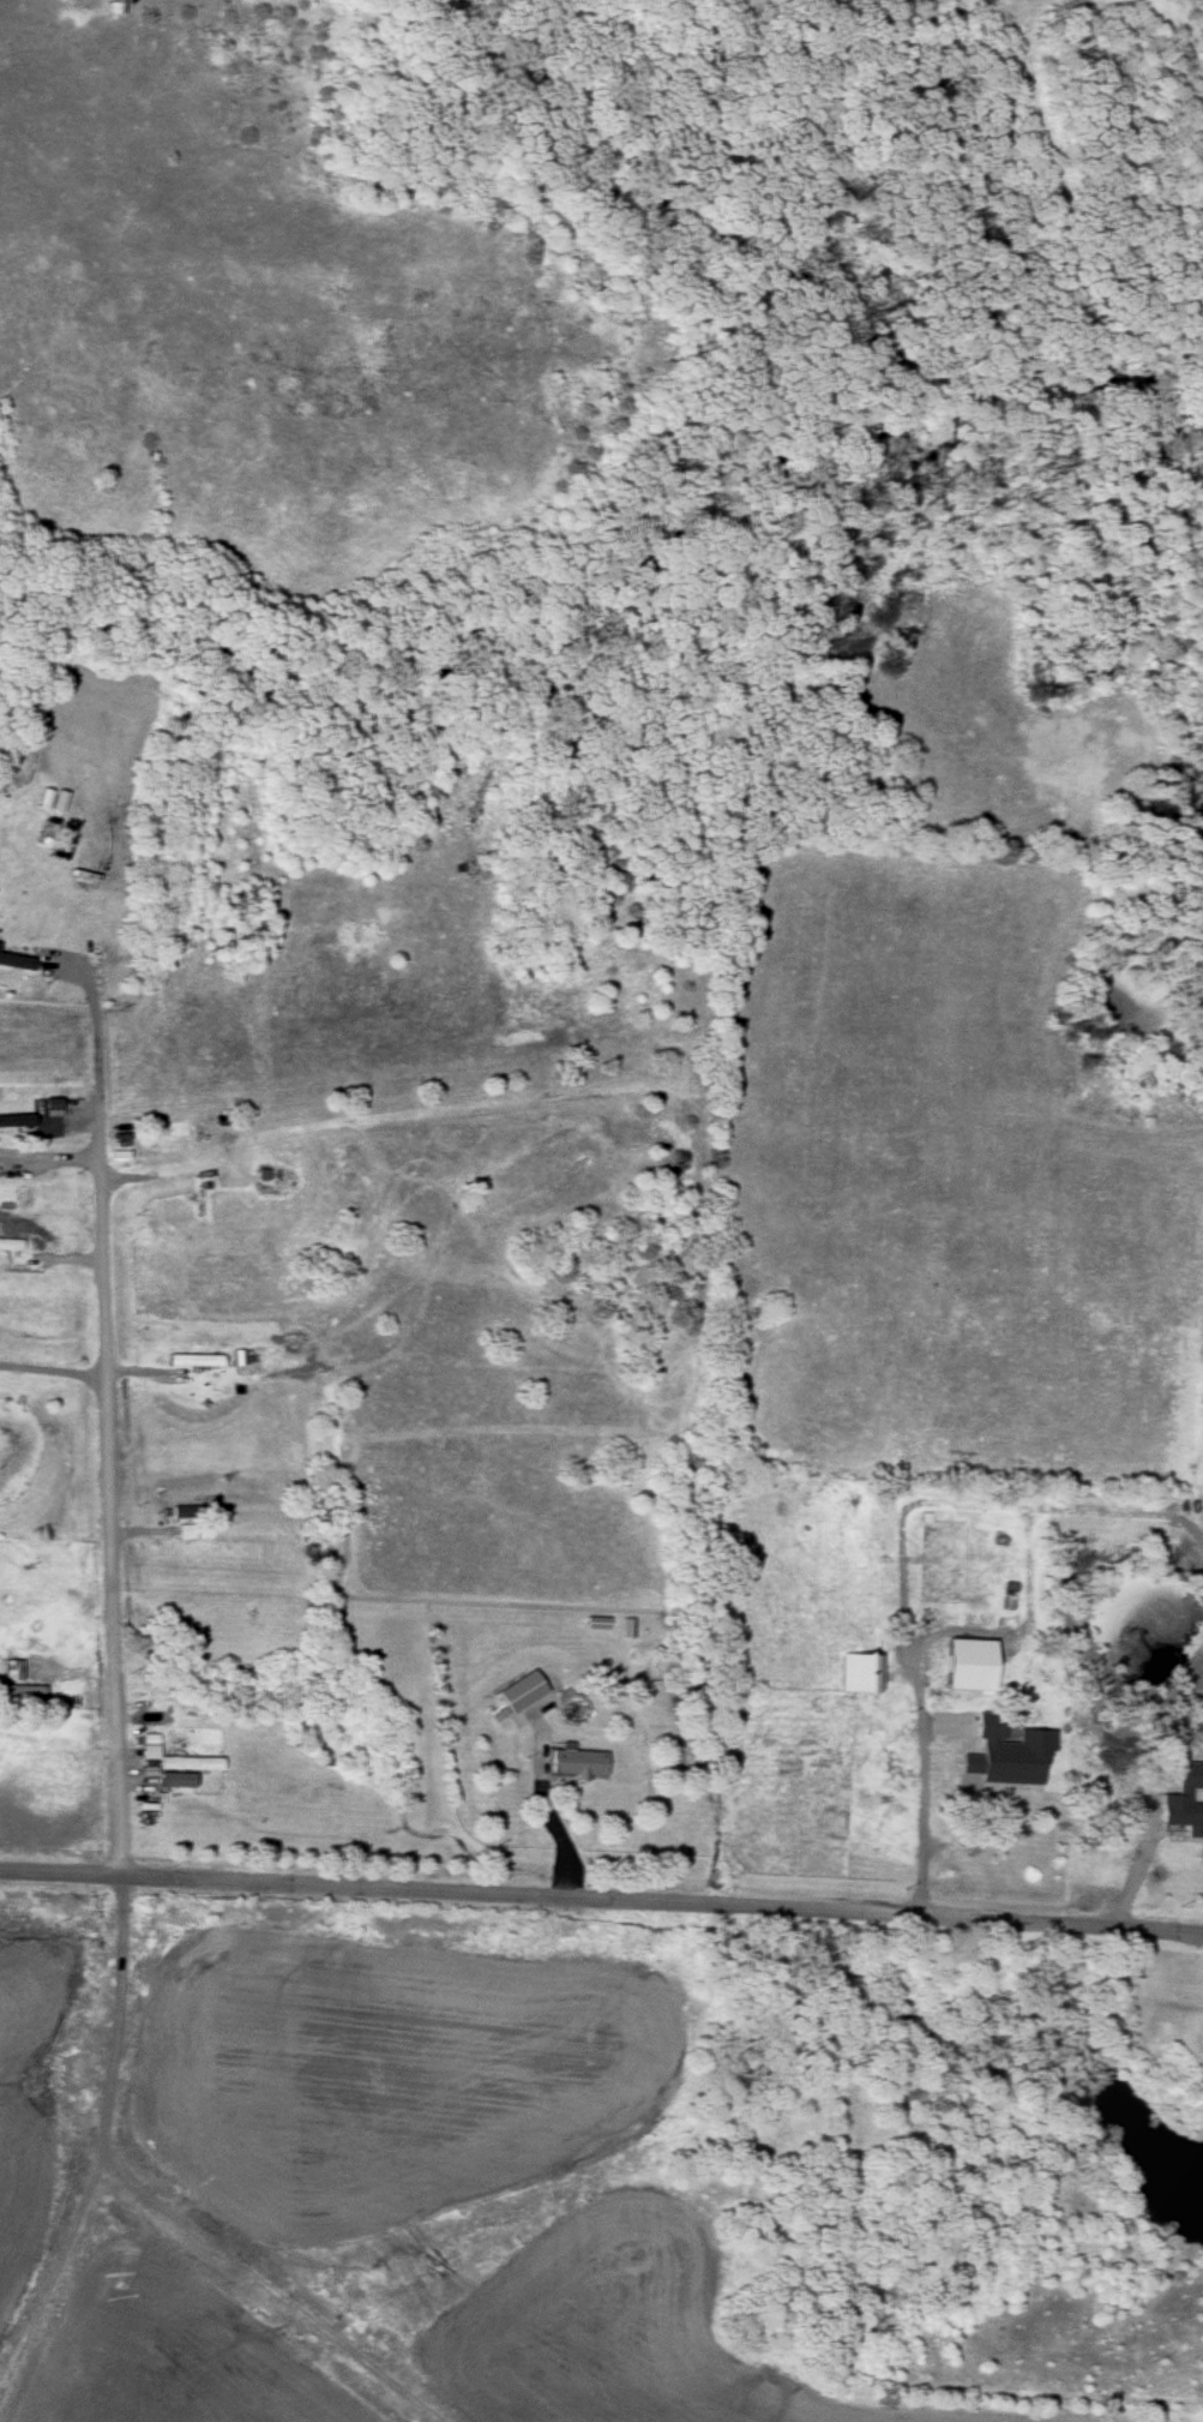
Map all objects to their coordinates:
building: (14, 960)
building: (18, 1120)
building: (203, 1204)
building: (10, 1245)
building: (197, 1361)
road: (52, 1365)
road: (104, 1392)
building: (187, 1519)
road: (982, 1631)
building: (10, 1667)
building: (859, 1674)
building: (957, 1681)
building: (18, 1691)
building: (516, 1696)
building: (182, 1763)
building: (970, 1763)
building: (575, 1764)
road: (543, 1809)
building: (1195, 1821)
road: (601, 1896)

